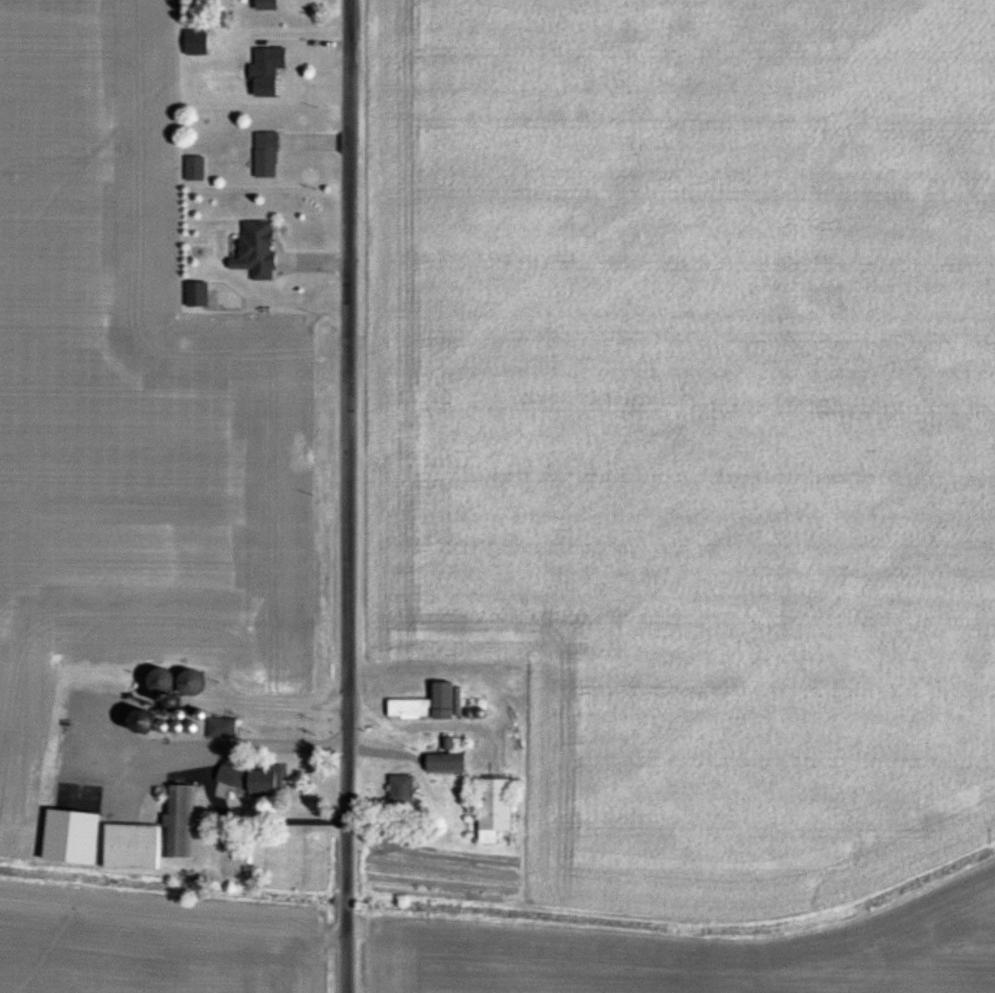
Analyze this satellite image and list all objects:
building: (266, 5)
building: (266, 73)
building: (267, 155)
building: (196, 169)
building: (257, 250)
building: (198, 295)
road: (345, 496)
building: (190, 682)
building: (427, 704)
building: (143, 721)
building: (179, 727)
building: (223, 728)
road: (116, 732)
building: (447, 763)
building: (249, 778)
building: (403, 790)
building: (496, 808)
road: (252, 813)
building: (180, 821)
building: (132, 846)

